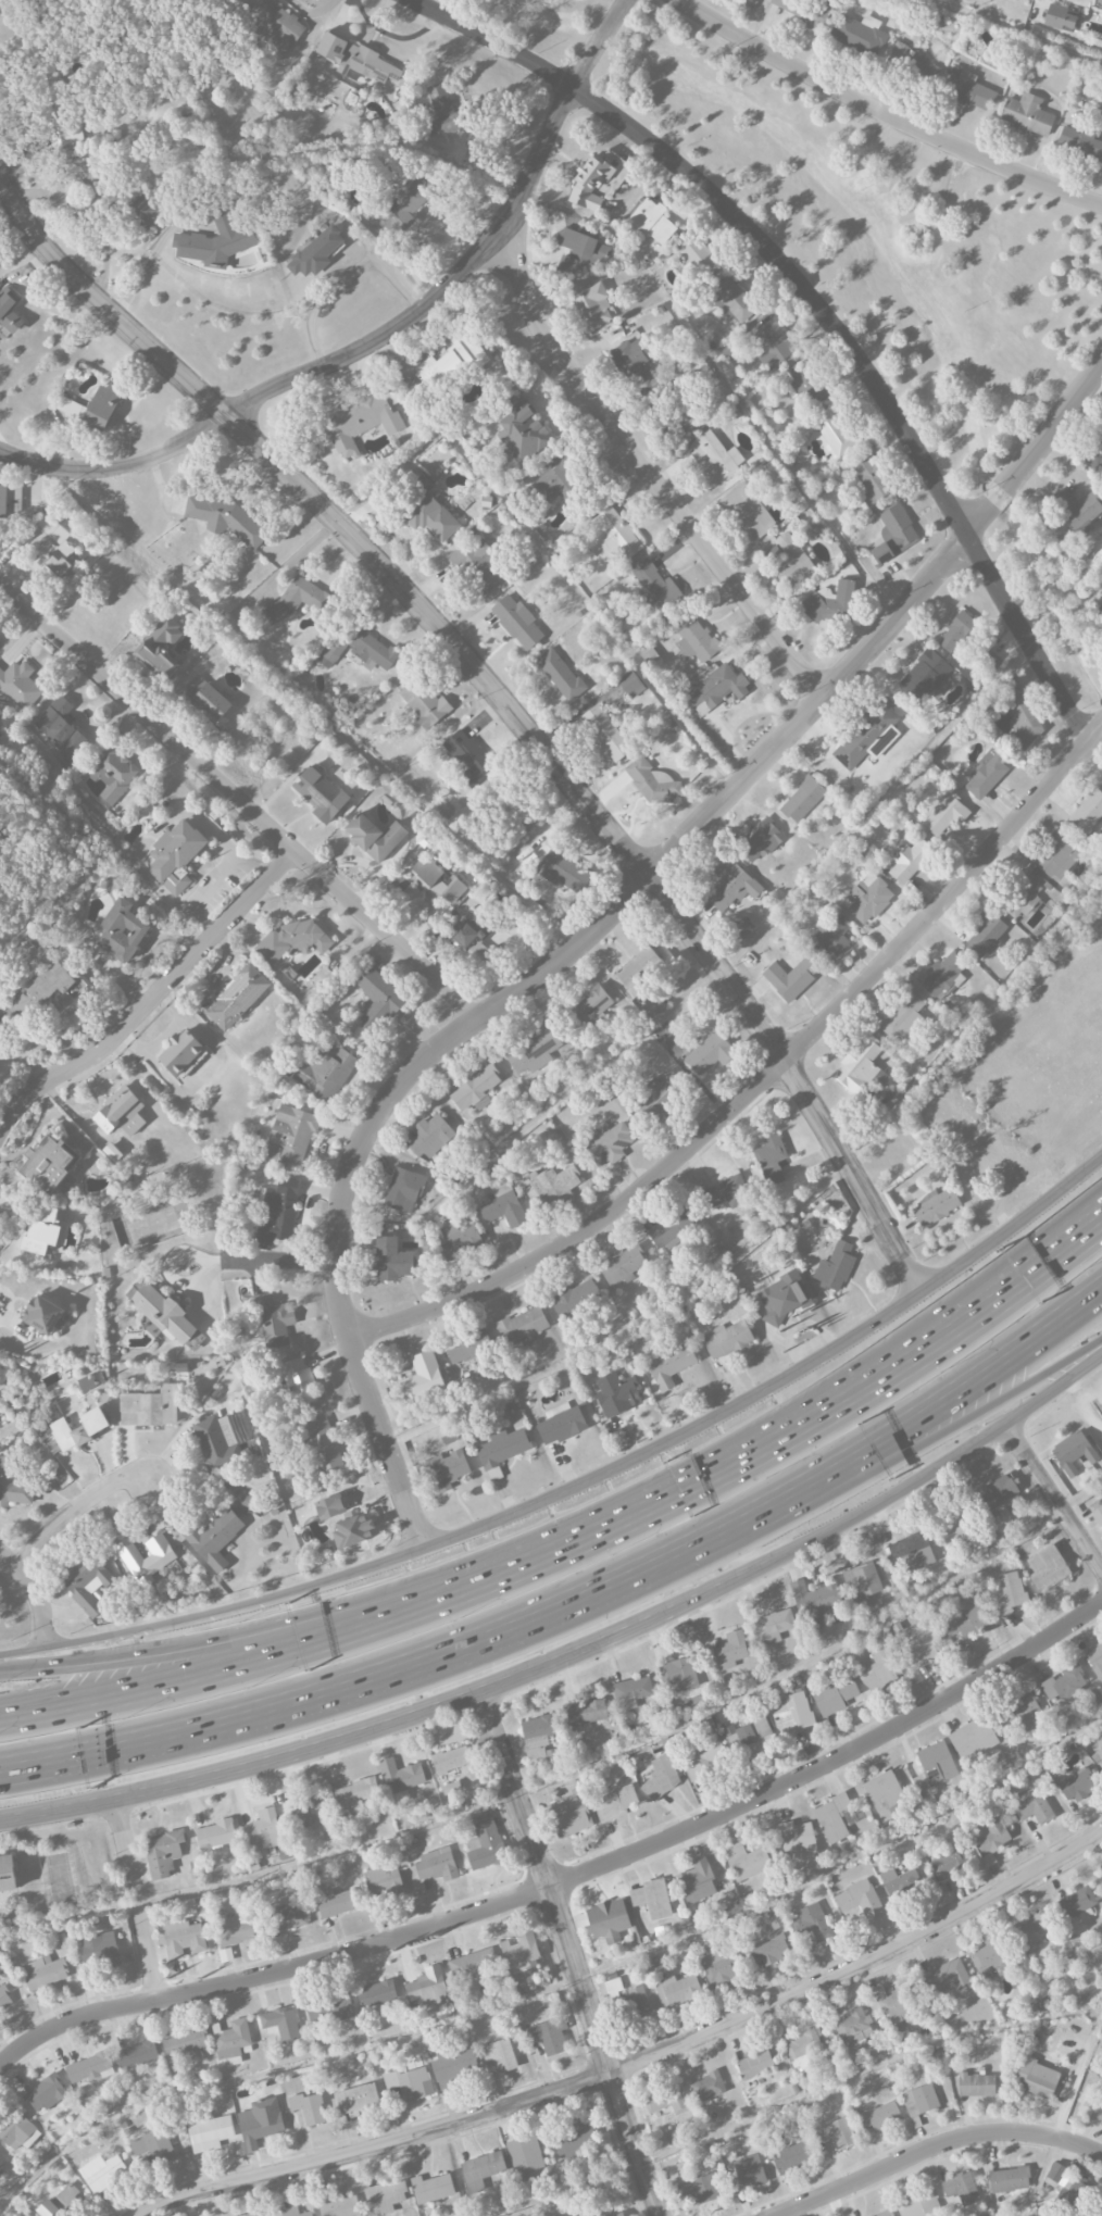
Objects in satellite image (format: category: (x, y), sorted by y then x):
building: (1060, 16)
building: (276, 24)
building: (859, 34)
building: (355, 60)
building: (911, 62)
building: (968, 90)
building: (442, 112)
road: (886, 113)
building: (55, 114)
building: (1026, 115)
building: (1080, 142)
building: (590, 184)
building: (97, 196)
building: (404, 203)
building: (141, 211)
building: (652, 221)
building: (215, 240)
building: (580, 251)
building: (316, 252)
road: (149, 261)
road: (381, 271)
building: (732, 300)
building: (590, 302)
road: (318, 303)
road: (816, 303)
building: (9, 311)
road: (385, 336)
building: (772, 345)
building: (729, 348)
building: (631, 361)
building: (449, 363)
building: (807, 385)
building: (102, 406)
building: (71, 408)
building: (685, 415)
building: (364, 422)
building: (522, 430)
building: (837, 433)
road: (637, 458)
building: (714, 459)
building: (871, 478)
building: (553, 480)
building: (1077, 510)
building: (429, 512)
building: (746, 512)
building: (227, 521)
building: (894, 535)
building: (611, 537)
building: (54, 546)
building: (789, 560)
building: (478, 565)
building: (654, 587)
building: (297, 598)
building: (828, 602)
building: (1101, 602)
building: (517, 622)
building: (955, 631)
building: (692, 637)
building: (160, 648)
building: (360, 650)
building: (989, 660)
building: (560, 674)
building: (927, 676)
building: (630, 684)
building: (18, 685)
building: (715, 688)
road: (501, 696)
building: (205, 698)
building: (424, 702)
building: (1018, 714)
building: (60, 728)
building: (605, 733)
building: (868, 735)
building: (467, 756)
building: (112, 773)
building: (986, 775)
building: (320, 793)
building: (803, 799)
road: (239, 802)
building: (1087, 811)
building: (946, 814)
building: (526, 818)
building: (374, 837)
building: (761, 841)
building: (175, 855)
building: (1059, 855)
building: (910, 860)
building: (564, 871)
building: (436, 880)
building: (730, 885)
building: (1022, 897)
building: (867, 898)
road: (598, 927)
building: (742, 927)
building: (122, 930)
building: (985, 935)
building: (472, 936)
building: (829, 937)
building: (292, 940)
building: (638, 972)
building: (942, 973)
building: (790, 978)
building: (38, 994)
building: (237, 997)
road: (153, 999)
building: (377, 1000)
building: (587, 1010)
building: (902, 1016)
building: (533, 1051)
building: (180, 1052)
building: (710, 1053)
building: (859, 1067)
building: (325, 1071)
road: (764, 1080)
building: (475, 1089)
building: (660, 1096)
building: (121, 1113)
building: (293, 1132)
building: (430, 1136)
building: (609, 1143)
building: (771, 1159)
building: (47, 1165)
building: (550, 1186)
building: (403, 1190)
building: (727, 1192)
building: (942, 1203)
building: (502, 1206)
building: (277, 1212)
building: (672, 1228)
building: (41, 1230)
road: (1067, 1236)
building: (460, 1239)
building: (392, 1260)
road: (216, 1262)
building: (622, 1265)
building: (839, 1266)
street lamp: (1082, 1269)
road: (201, 1293)
building: (789, 1295)
building: (575, 1298)
building: (168, 1307)
building: (43, 1315)
building: (279, 1318)
building: (521, 1325)
building: (732, 1336)
street lamp: (1085, 1338)
building: (469, 1348)
building: (677, 1362)
street lamp: (941, 1370)
road: (785, 1377)
building: (302, 1379)
building: (422, 1379)
building: (86, 1384)
building: (621, 1390)
building: (155, 1404)
road: (927, 1409)
building: (567, 1423)
street lamp: (982, 1424)
building: (85, 1429)
street lamp: (1029, 1436)
building: (228, 1440)
road: (927, 1441)
building: (329, 1443)
building: (509, 1443)
building: (1073, 1452)
building: (452, 1468)
building: (22, 1476)
street lamp: (765, 1478)
road: (698, 1480)
building: (998, 1490)
building: (1101, 1493)
road: (892, 1494)
road: (1053, 1497)
road: (74, 1510)
building: (1097, 1511)
building: (354, 1517)
building: (953, 1525)
building: (220, 1532)
building: (912, 1552)
building: (151, 1553)
street lamp: (612, 1555)
building: (1047, 1567)
building: (93, 1579)
building: (863, 1579)
building: (1010, 1594)
road: (36, 1600)
building: (814, 1601)
road: (224, 1617)
street lamp: (453, 1620)
building: (964, 1622)
street lamp: (239, 1623)
building: (773, 1626)
street lamp: (115, 1642)
building: (922, 1645)
building: (729, 1650)
building: (1094, 1660)
road: (125, 1665)
building: (880, 1670)
building: (679, 1674)
road: (383, 1676)
building: (1065, 1683)
building: (633, 1688)
road: (126, 1689)
street lamp: (247, 1689)
building: (835, 1697)
road: (439, 1706)
building: (586, 1712)
building: (1023, 1712)
building: (792, 1713)
street lamp: (123, 1718)
building: (536, 1735)
building: (750, 1739)
building: (973, 1739)
building: (703, 1758)
building: (449, 1760)
building: (935, 1766)
road: (577, 1769)
building: (400, 1775)
building: (661, 1777)
building: (1079, 1785)
building: (885, 1792)
building: (355, 1795)
road: (100, 1801)
building: (616, 1803)
building: (306, 1806)
building: (1031, 1806)
building: (569, 1812)
building: (832, 1818)
building: (263, 1830)
building: (216, 1833)
building: (990, 1835)
building: (797, 1840)
building: (485, 1842)
building: (162, 1851)
building: (949, 1860)
building: (747, 1861)
building: (437, 1864)
building: (13, 1870)
building: (1101, 1875)
road: (568, 1880)
building: (697, 1881)
building: (383, 1882)
building: (901, 1883)
building: (652, 1899)
building: (859, 1899)
road: (137, 1900)
building: (335, 1902)
building: (1077, 1903)
building: (286, 1918)
building: (812, 1923)
building: (235, 1930)
building: (1035, 1930)
building: (183, 1939)
building: (767, 1949)
building: (99, 1950)
building: (521, 1953)
road: (572, 1953)
building: (989, 1954)
building: (652, 1964)
building: (474, 1965)
building: (719, 1968)
building: (43, 1971)
building: (948, 1975)
road: (556, 1986)
building: (677, 1990)
building: (428, 1991)
building: (376, 1993)
building: (4, 1998)
building: (626, 1998)
building: (897, 2007)
building: (329, 2010)
building: (281, 2024)
building: (853, 2027)
building: (548, 2036)
building: (231, 2038)
building: (185, 2044)
building: (804, 2050)
building: (138, 2054)
building: (499, 2054)
road: (635, 2061)
building: (755, 2065)
building: (89, 2067)
building: (454, 2067)
road: (1075, 2077)
building: (1038, 2078)
building: (410, 2083)
building: (976, 2084)
building: (706, 2087)
building: (46, 2093)
building: (358, 2098)
building: (919, 2100)
building: (665, 2101)
road: (791, 2102)
building: (309, 2108)
building: (1097, 2113)
building: (880, 2116)
building: (260, 2121)
building: (17, 2130)
building: (209, 2131)
building: (836, 2133)
building: (574, 2139)
road: (932, 2146)
building: (151, 2148)
building: (526, 2156)
building: (793, 2156)
building: (2, 2161)
building: (481, 2170)
building: (102, 2173)
building: (748, 2174)
building: (1055, 2176)
building: (1009, 2179)
road: (1035, 2182)
building: (431, 2188)
building: (961, 2188)
building: (1074, 2192)
building: (387, 2195)
building: (67, 2201)
building: (339, 2205)
building: (919, 2205)
building: (47, 2208)
building: (293, 2212)
building: (605, 2213)
building: (250, 2214)
building: (886, 2215)

